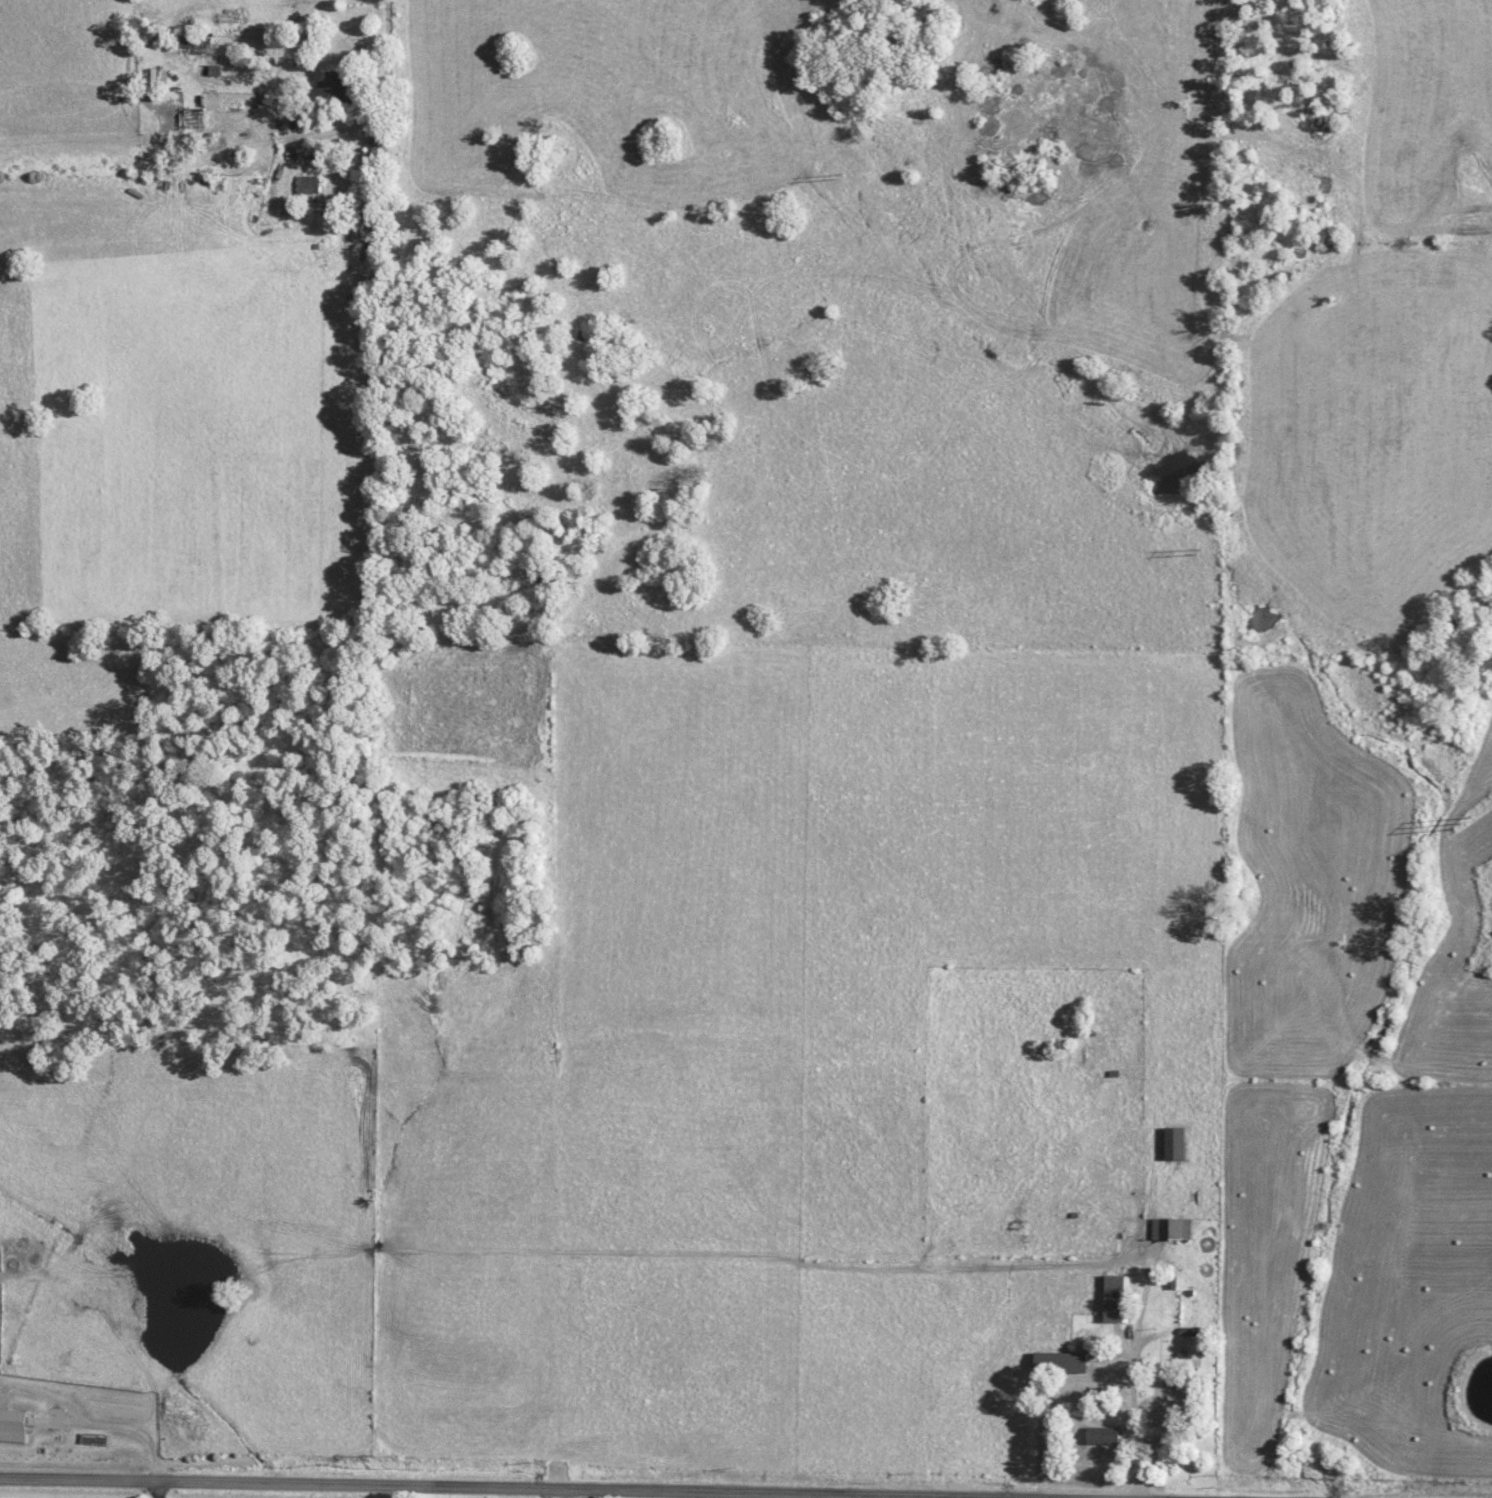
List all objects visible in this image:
road: (390, 63)
building: (218, 66)
building: (339, 86)
power tower: (840, 178)
building: (312, 184)
power tower: (1196, 550)
power tower: (1458, 824)
building: (1175, 1144)
building: (1171, 1229)
building: (1115, 1298)
building: (1057, 1362)
building: (1159, 1401)
road: (121, 1426)
building: (1099, 1436)
road: (419, 1489)
road: (161, 1491)

